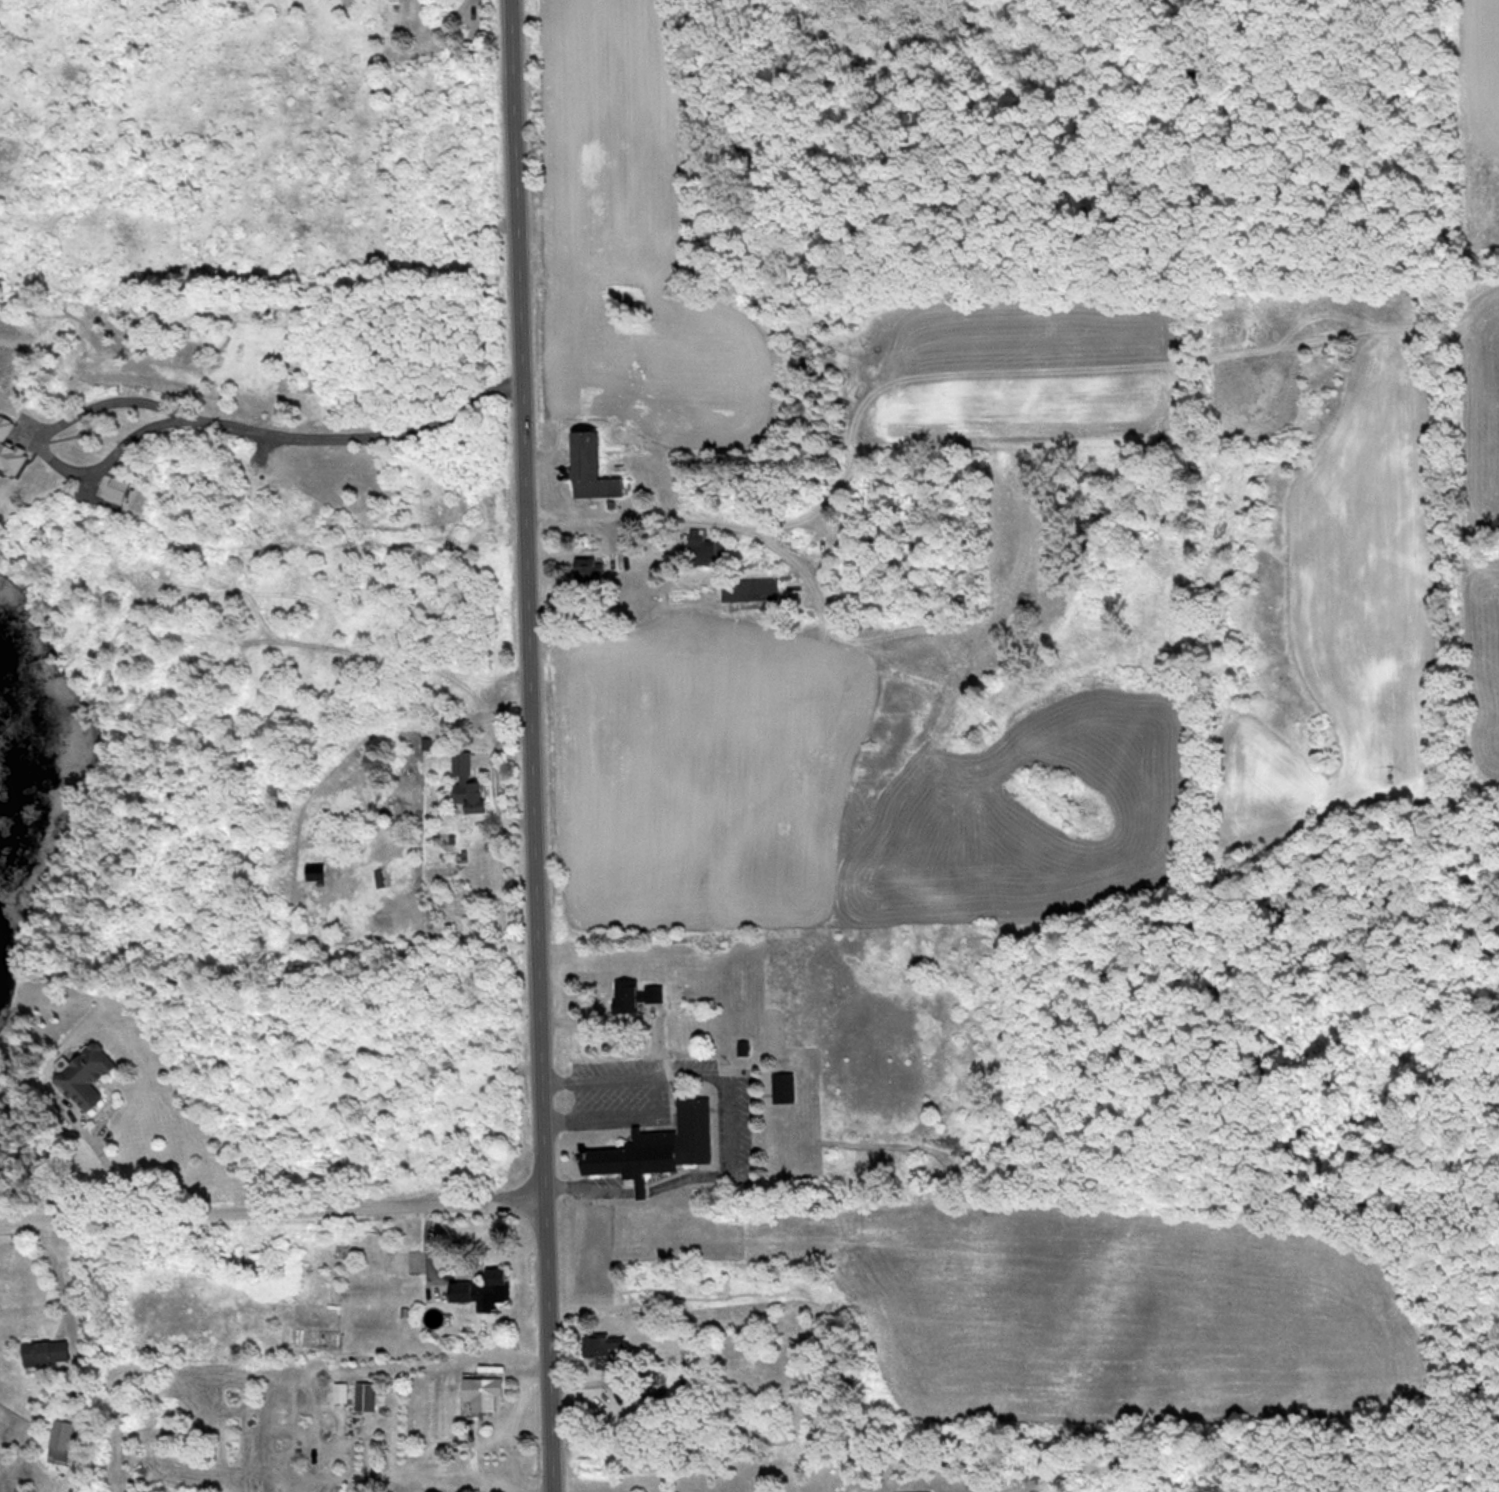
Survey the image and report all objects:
road: (194, 418)
building: (592, 467)
road: (626, 520)
building: (705, 548)
building: (589, 573)
building: (752, 589)
road: (539, 746)
road: (492, 778)
building: (470, 785)
building: (635, 996)
building: (90, 1075)
road: (660, 1083)
parking lot: (617, 1085)
building: (784, 1087)
parking lot: (743, 1120)
building: (659, 1137)
road: (722, 1164)
parking lot: (599, 1173)
road: (276, 1203)
parking lot: (594, 1235)
building: (485, 1290)
building: (604, 1345)
building: (46, 1352)
road: (77, 1352)
building: (341, 1391)
building: (483, 1392)
building: (366, 1396)
building: (61, 1439)

